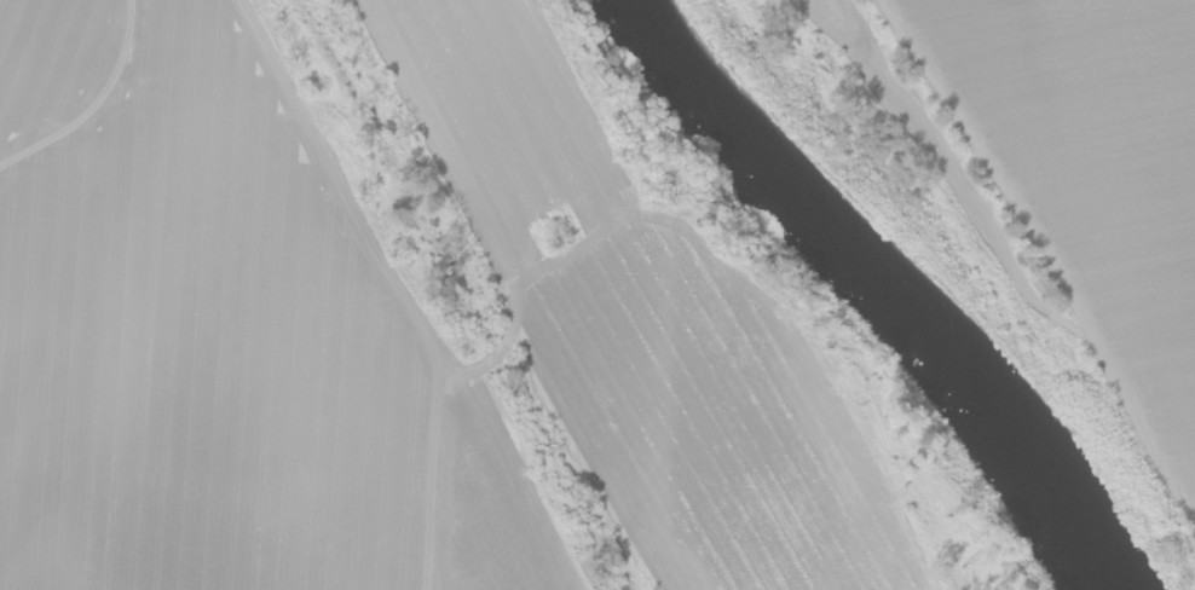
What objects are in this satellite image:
road: (1039, 274)
river: (900, 284)

